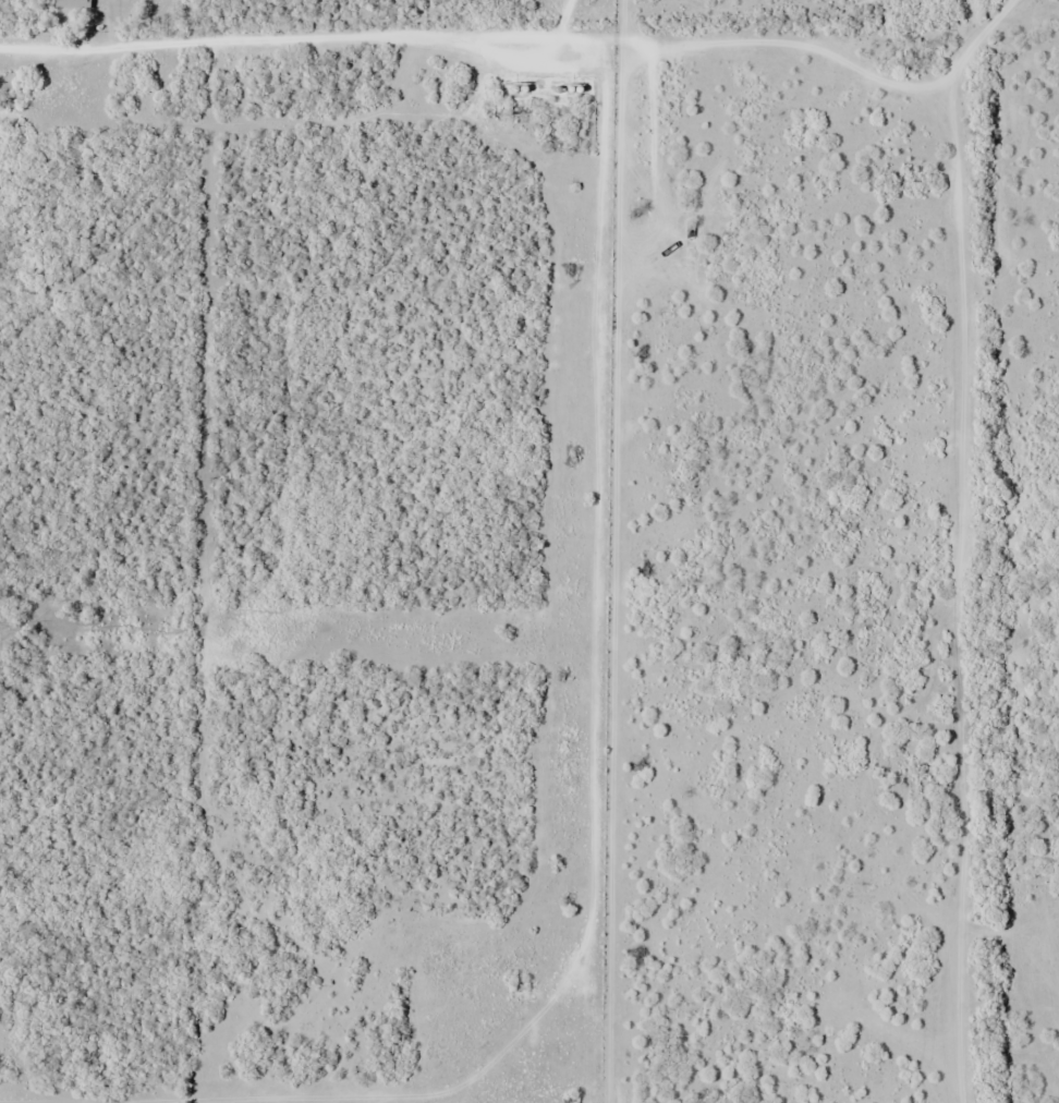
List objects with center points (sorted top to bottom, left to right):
building: (71, 3)
road: (296, 39)

